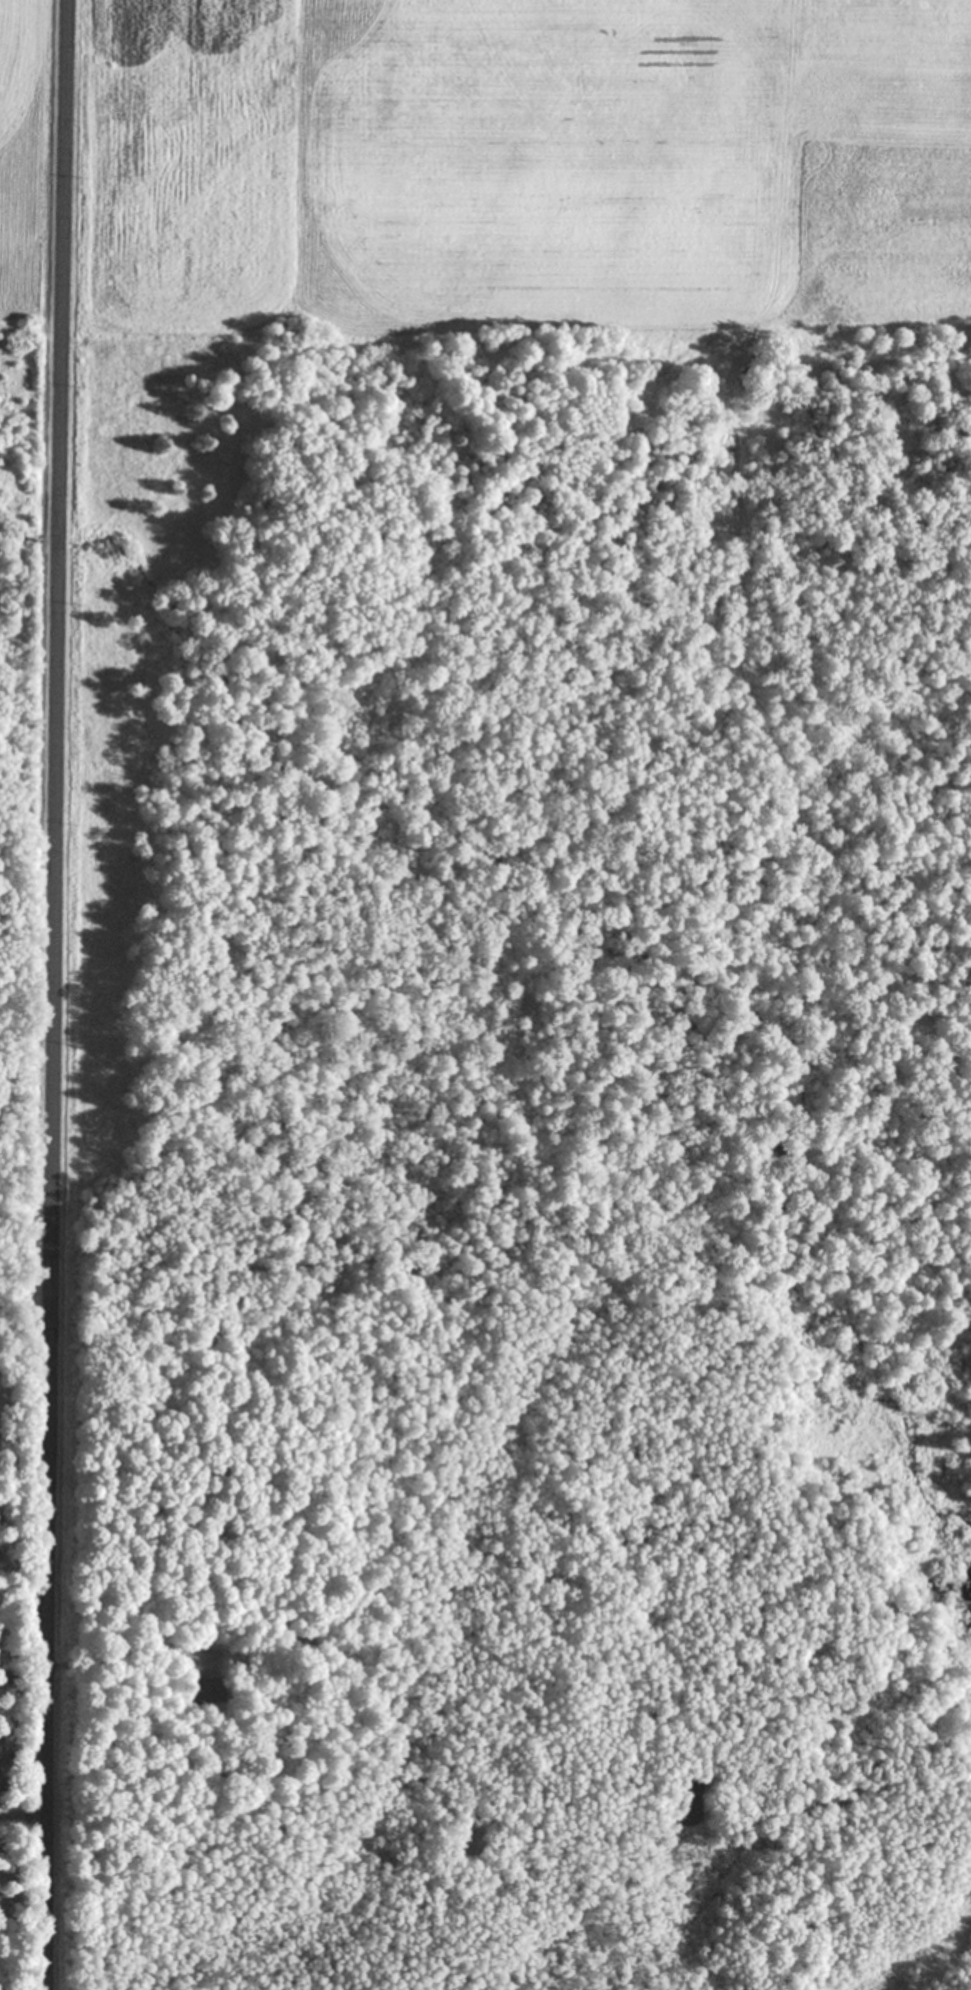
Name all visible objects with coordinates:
crop: (523, 171)
crop: (27, 218)
road: (53, 994)

